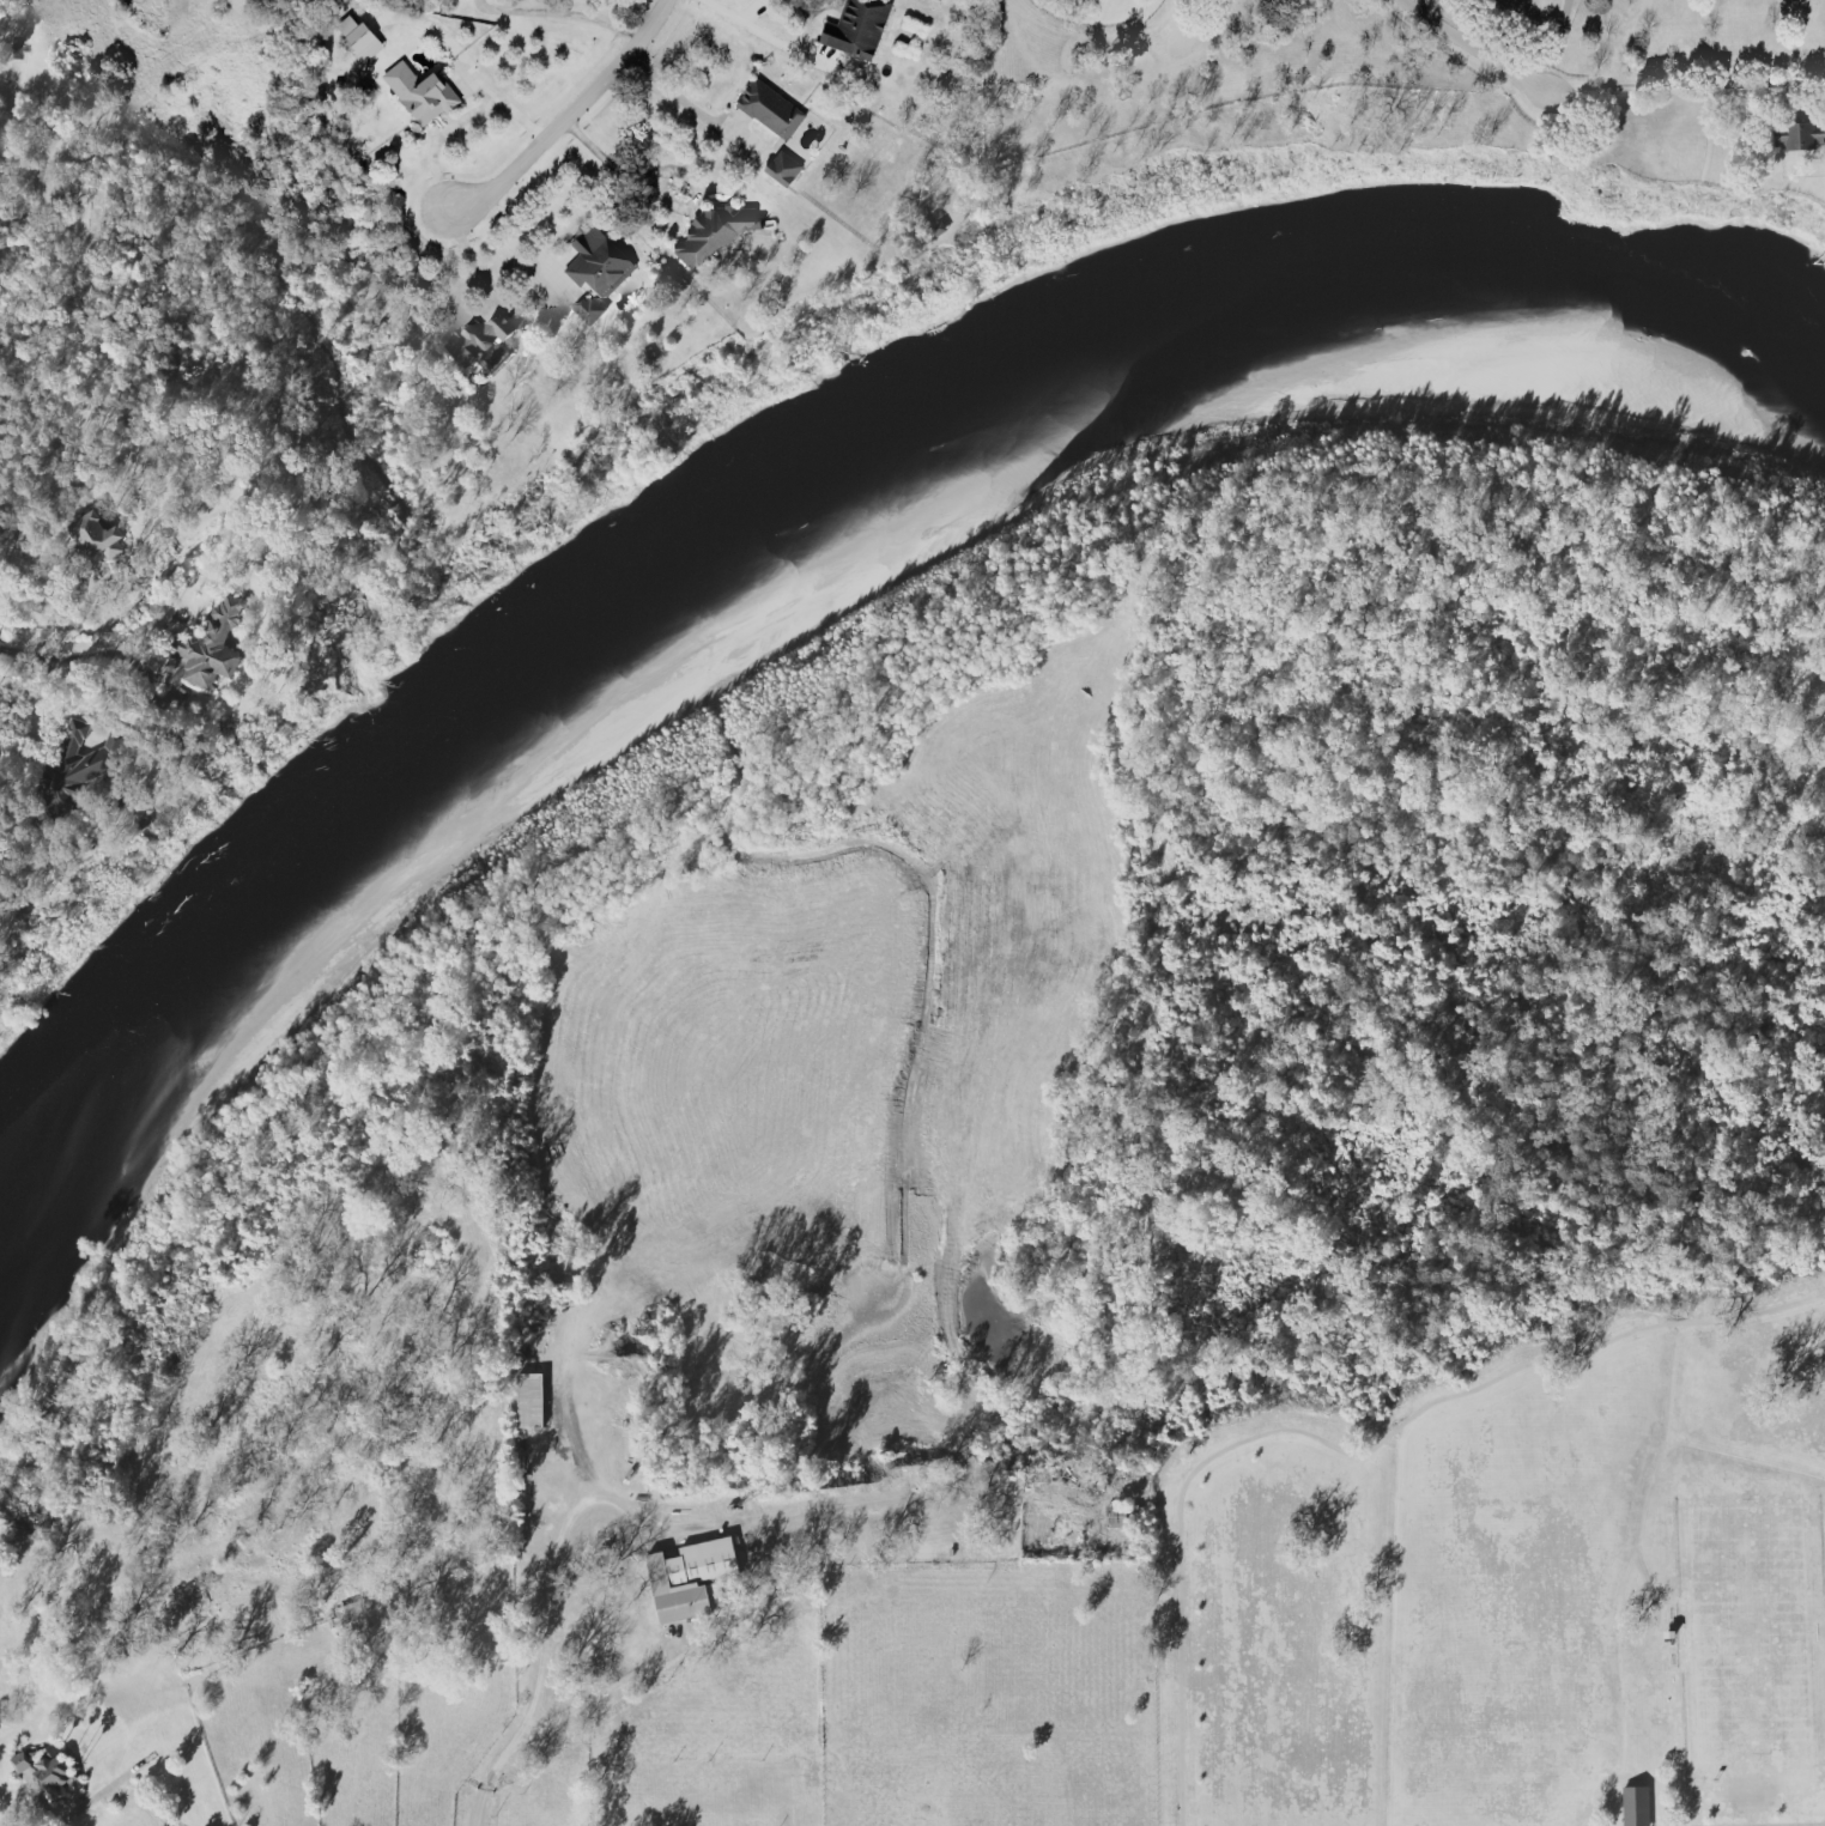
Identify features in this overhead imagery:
road: (752, 8)
road: (560, 12)
building: (856, 26)
road: (768, 31)
building: (357, 35)
road: (1548, 41)
road: (1474, 44)
road: (1685, 86)
building: (420, 89)
road: (677, 92)
road: (498, 98)
building: (769, 105)
road: (562, 110)
building: (1800, 138)
road: (432, 139)
road: (612, 159)
building: (781, 164)
building: (90, 216)
building: (715, 231)
building: (596, 259)
road: (475, 263)
building: (587, 309)
building: (477, 339)
river: (789, 466)
building: (97, 535)
building: (212, 647)
road: (72, 659)
road: (20, 733)
building: (79, 769)
building: (530, 1401)
road: (1340, 1448)
building: (690, 1579)
road: (550, 1590)
building: (350, 1622)
park: (1750, 1634)
road: (599, 1697)
building: (20, 1763)
building: (54, 1775)
road: (144, 1804)
building: (1636, 1807)
road: (484, 1814)
road: (169, 1825)
road: (1823, 1825)

